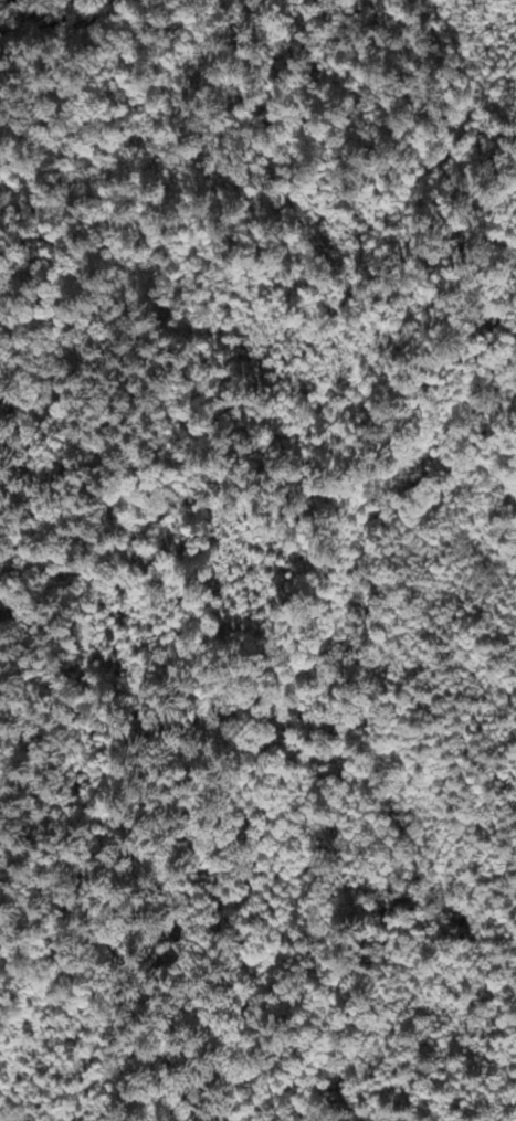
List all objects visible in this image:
road: (59, 870)

